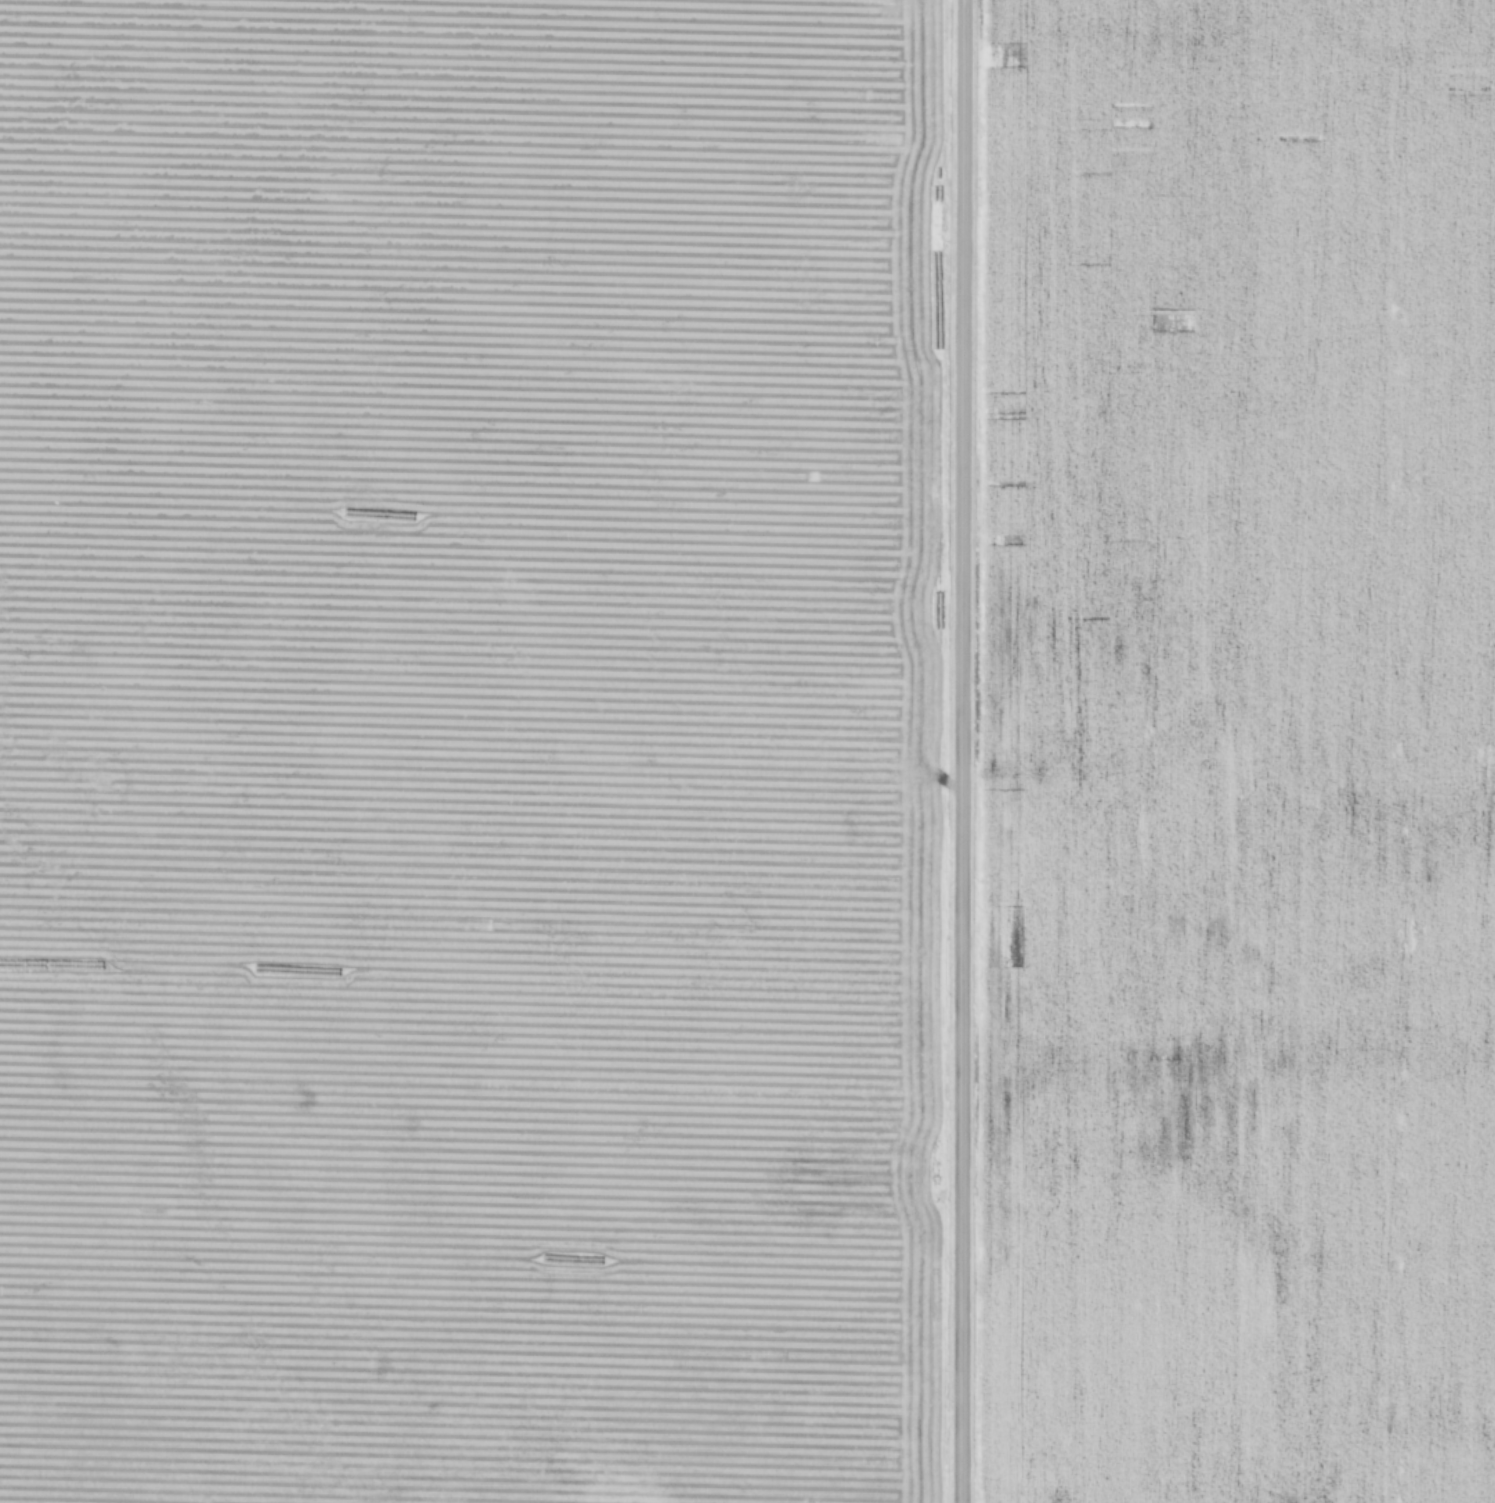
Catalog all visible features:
road: (965, 751)

